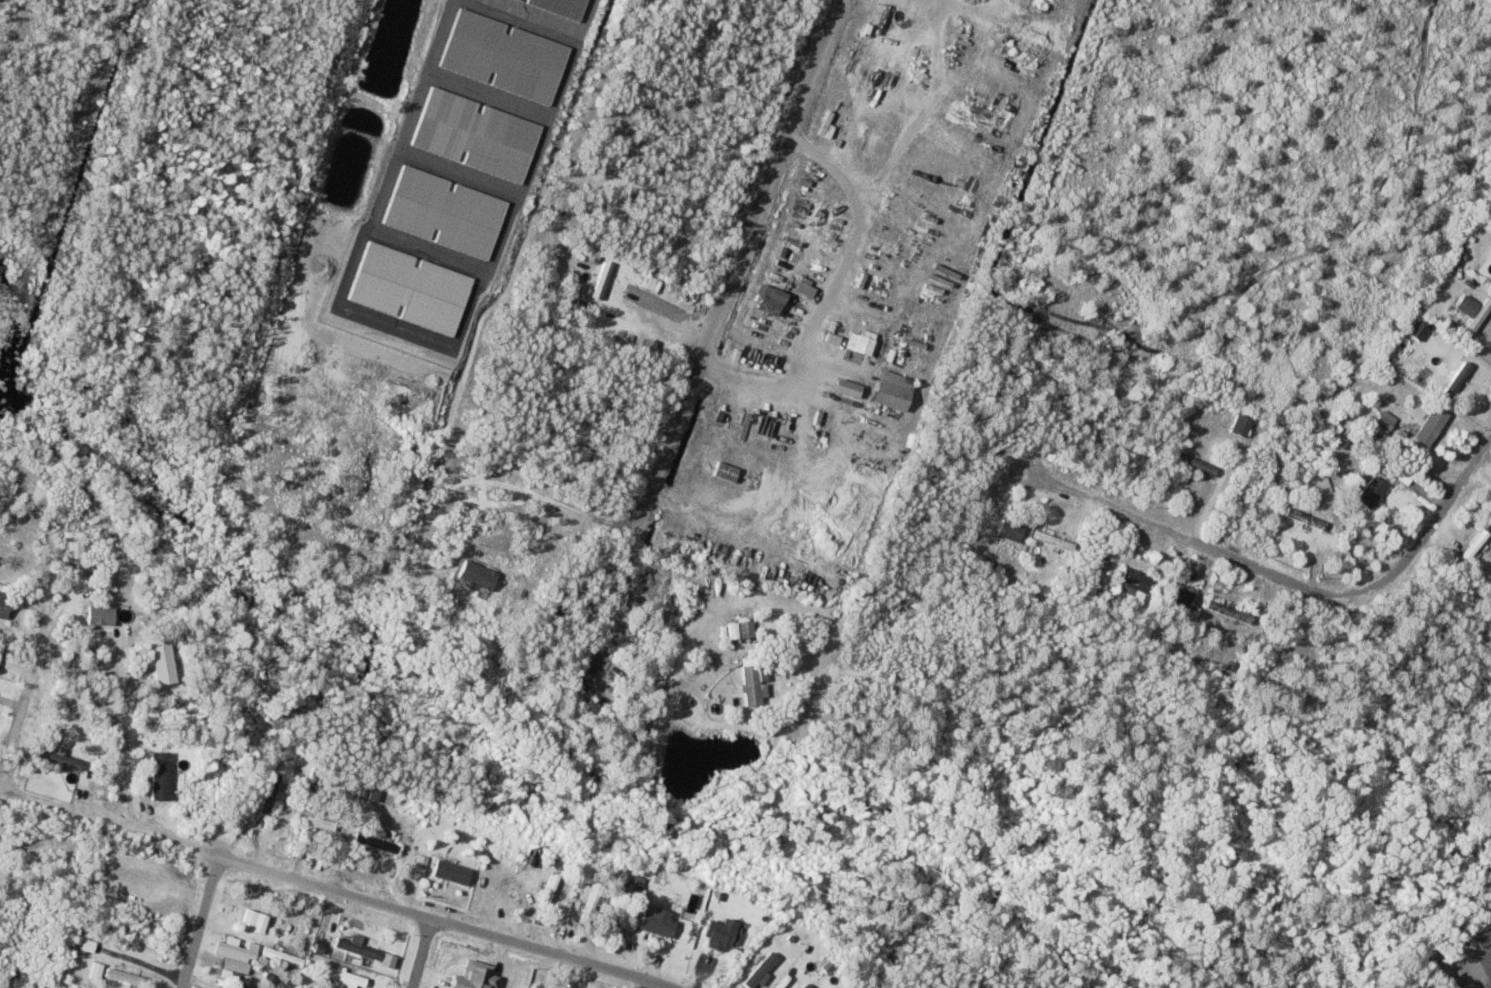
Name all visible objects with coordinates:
building: (563, 6)
road: (736, 269)
building: (603, 279)
building: (773, 299)
building: (1475, 312)
building: (1418, 329)
building: (861, 342)
building: (1458, 379)
building: (848, 385)
building: (893, 388)
building: (1242, 424)
building: (1433, 425)
building: (1197, 463)
building: (1373, 490)
building: (1306, 518)
building: (1490, 524)
building: (1012, 529)
building: (1054, 540)
building: (1472, 545)
building: (76, 548)
building: (477, 573)
road: (1286, 581)
building: (1136, 582)
building: (1182, 597)
building: (5, 606)
building: (1230, 611)
road: (663, 612)
building: (102, 613)
road: (608, 619)
building: (741, 628)
building: (2, 644)
building: (165, 662)
building: (751, 683)
road: (23, 699)
building: (592, 707)
road: (127, 735)
building: (61, 757)
building: (161, 773)
building: (271, 792)
building: (322, 822)
building: (378, 842)
building: (453, 870)
building: (552, 887)
road: (331, 892)
building: (660, 920)
road: (200, 922)
building: (721, 933)
building: (1481, 936)
building: (236, 949)
building: (365, 949)
road: (422, 954)
building: (283, 955)
building: (97, 969)
building: (764, 969)
building: (127, 971)
building: (347, 975)
road: (644, 984)
building: (808, 985)
building: (240, 986)
building: (1489, 986)

